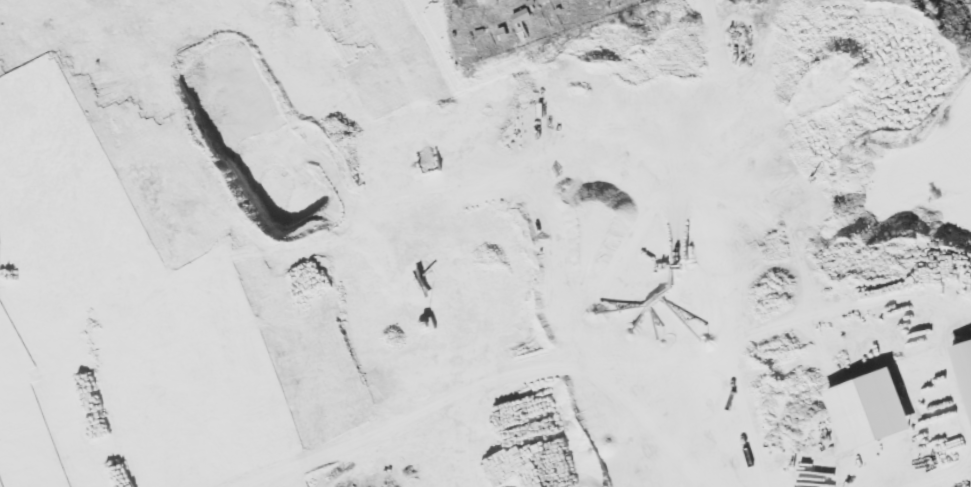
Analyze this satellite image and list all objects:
building: (492, 1)
building: (520, 14)
quarry: (500, 232)
building: (964, 366)
building: (868, 408)

